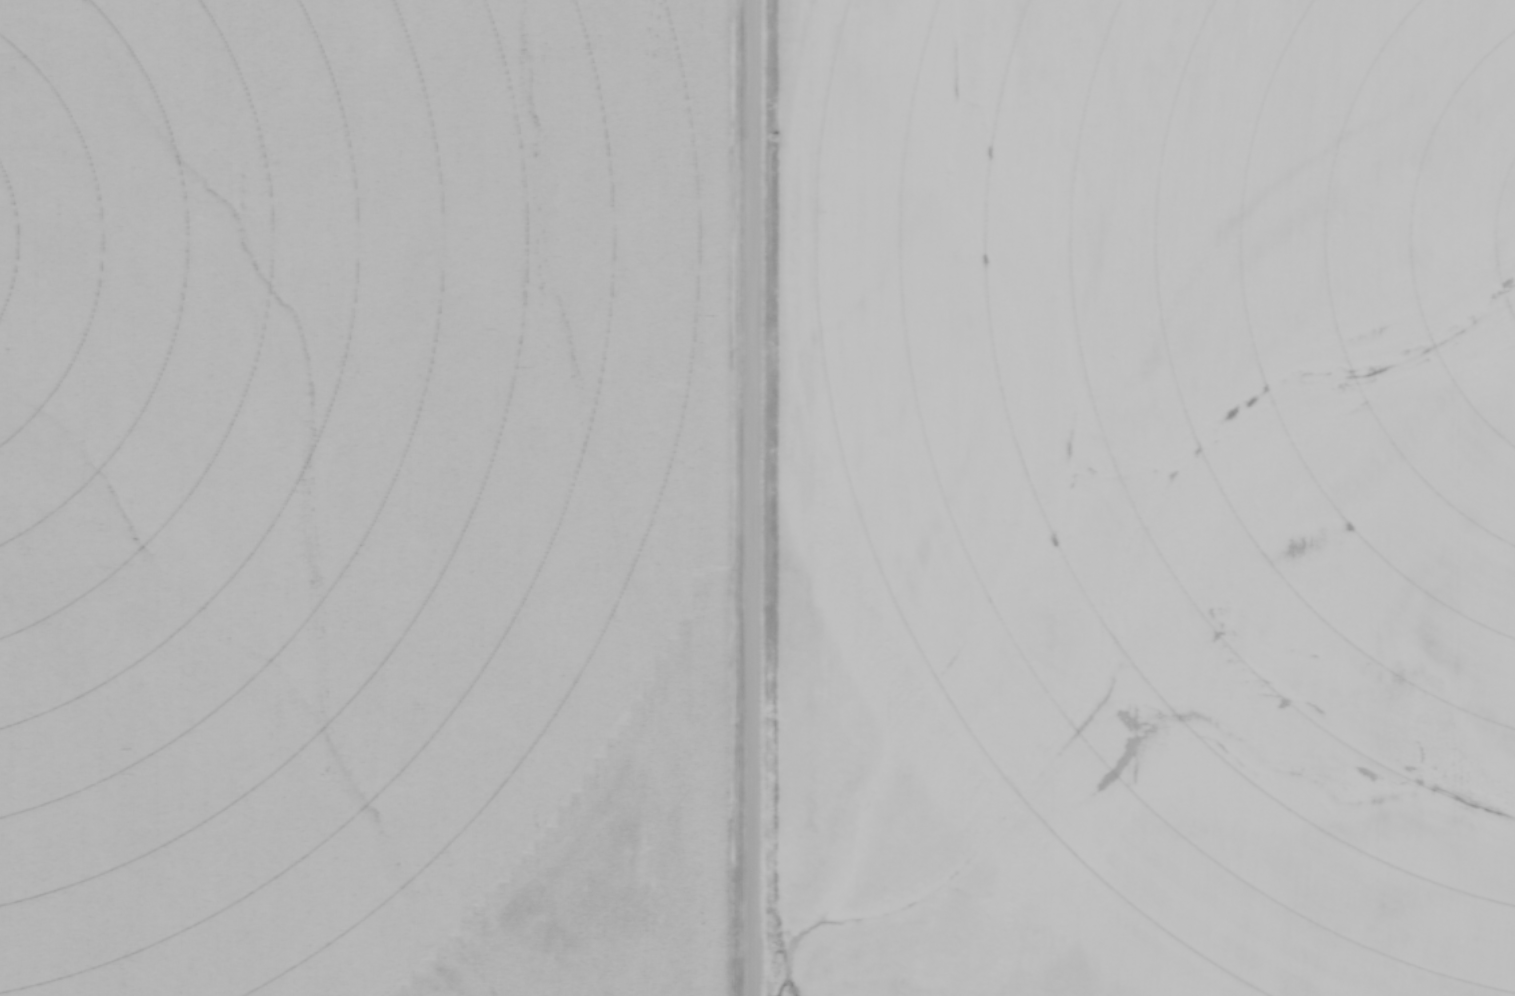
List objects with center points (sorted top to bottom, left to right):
road: (749, 498)

